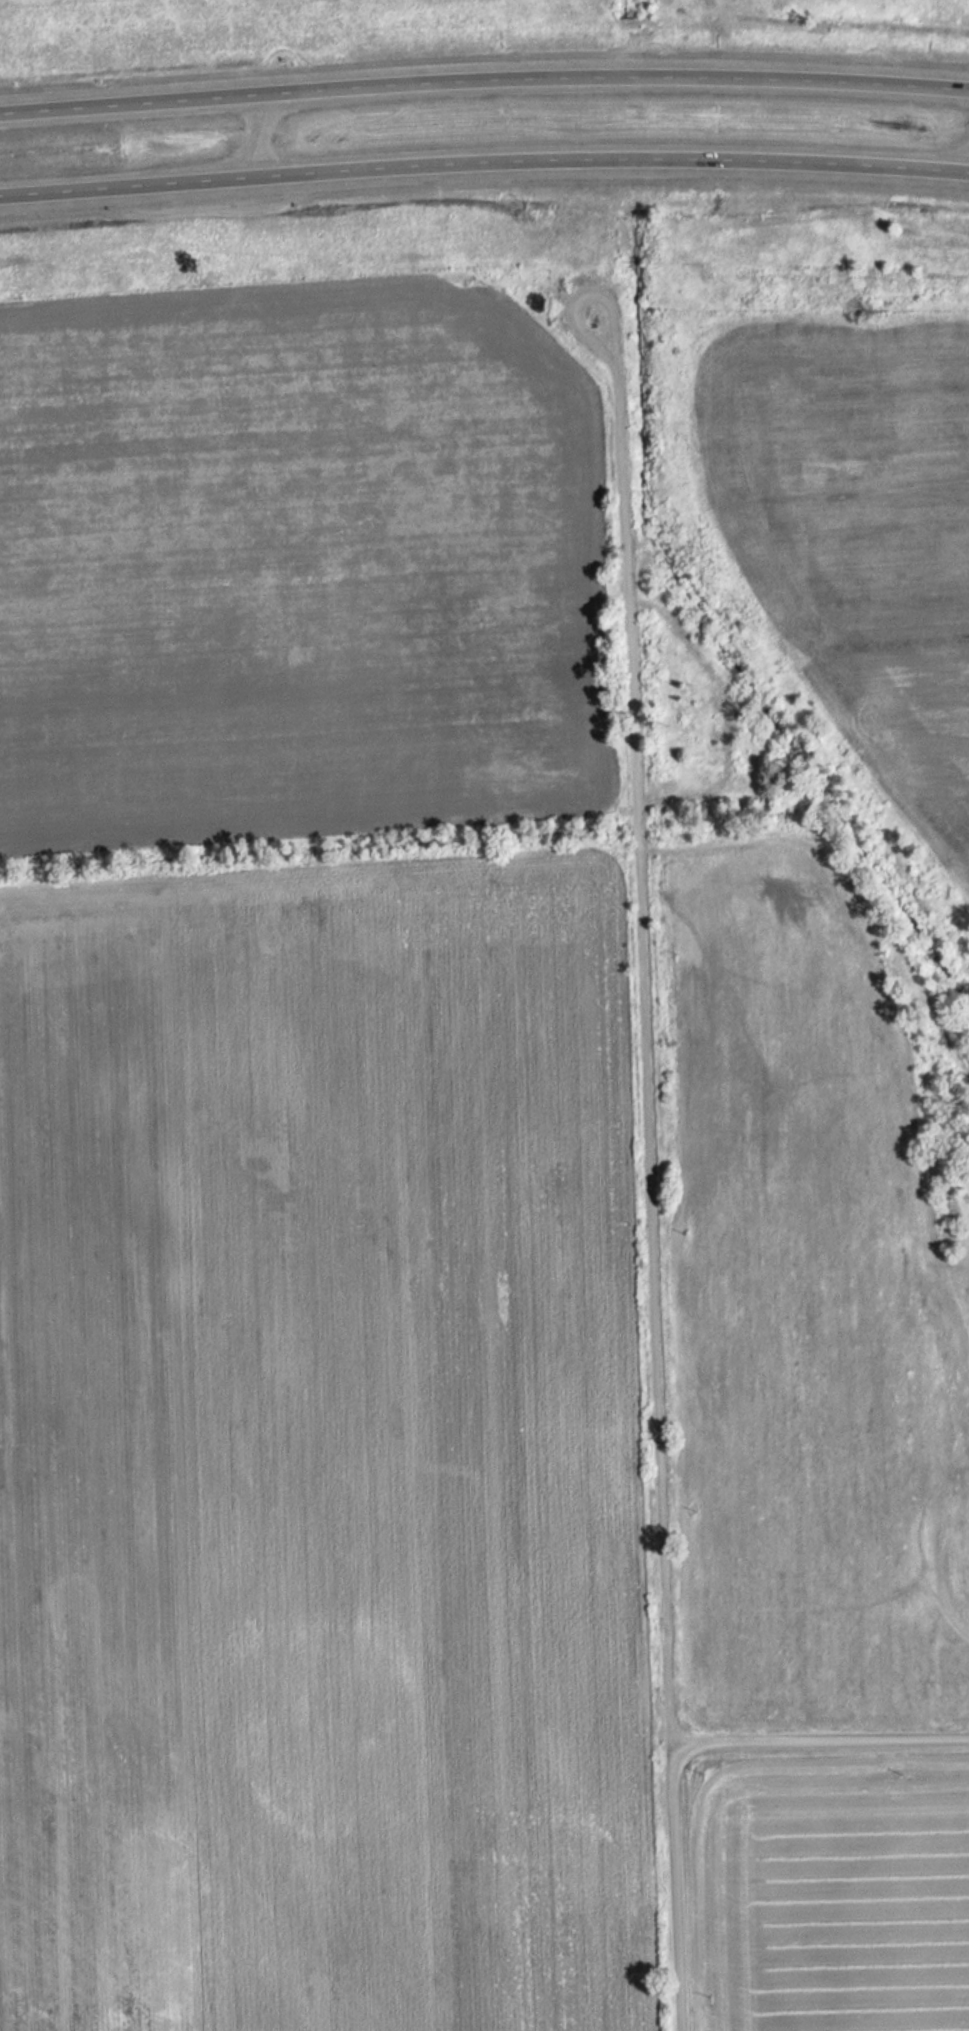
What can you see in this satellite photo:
road: (484, 80)
road: (484, 160)
road: (648, 1170)
road: (818, 1744)

